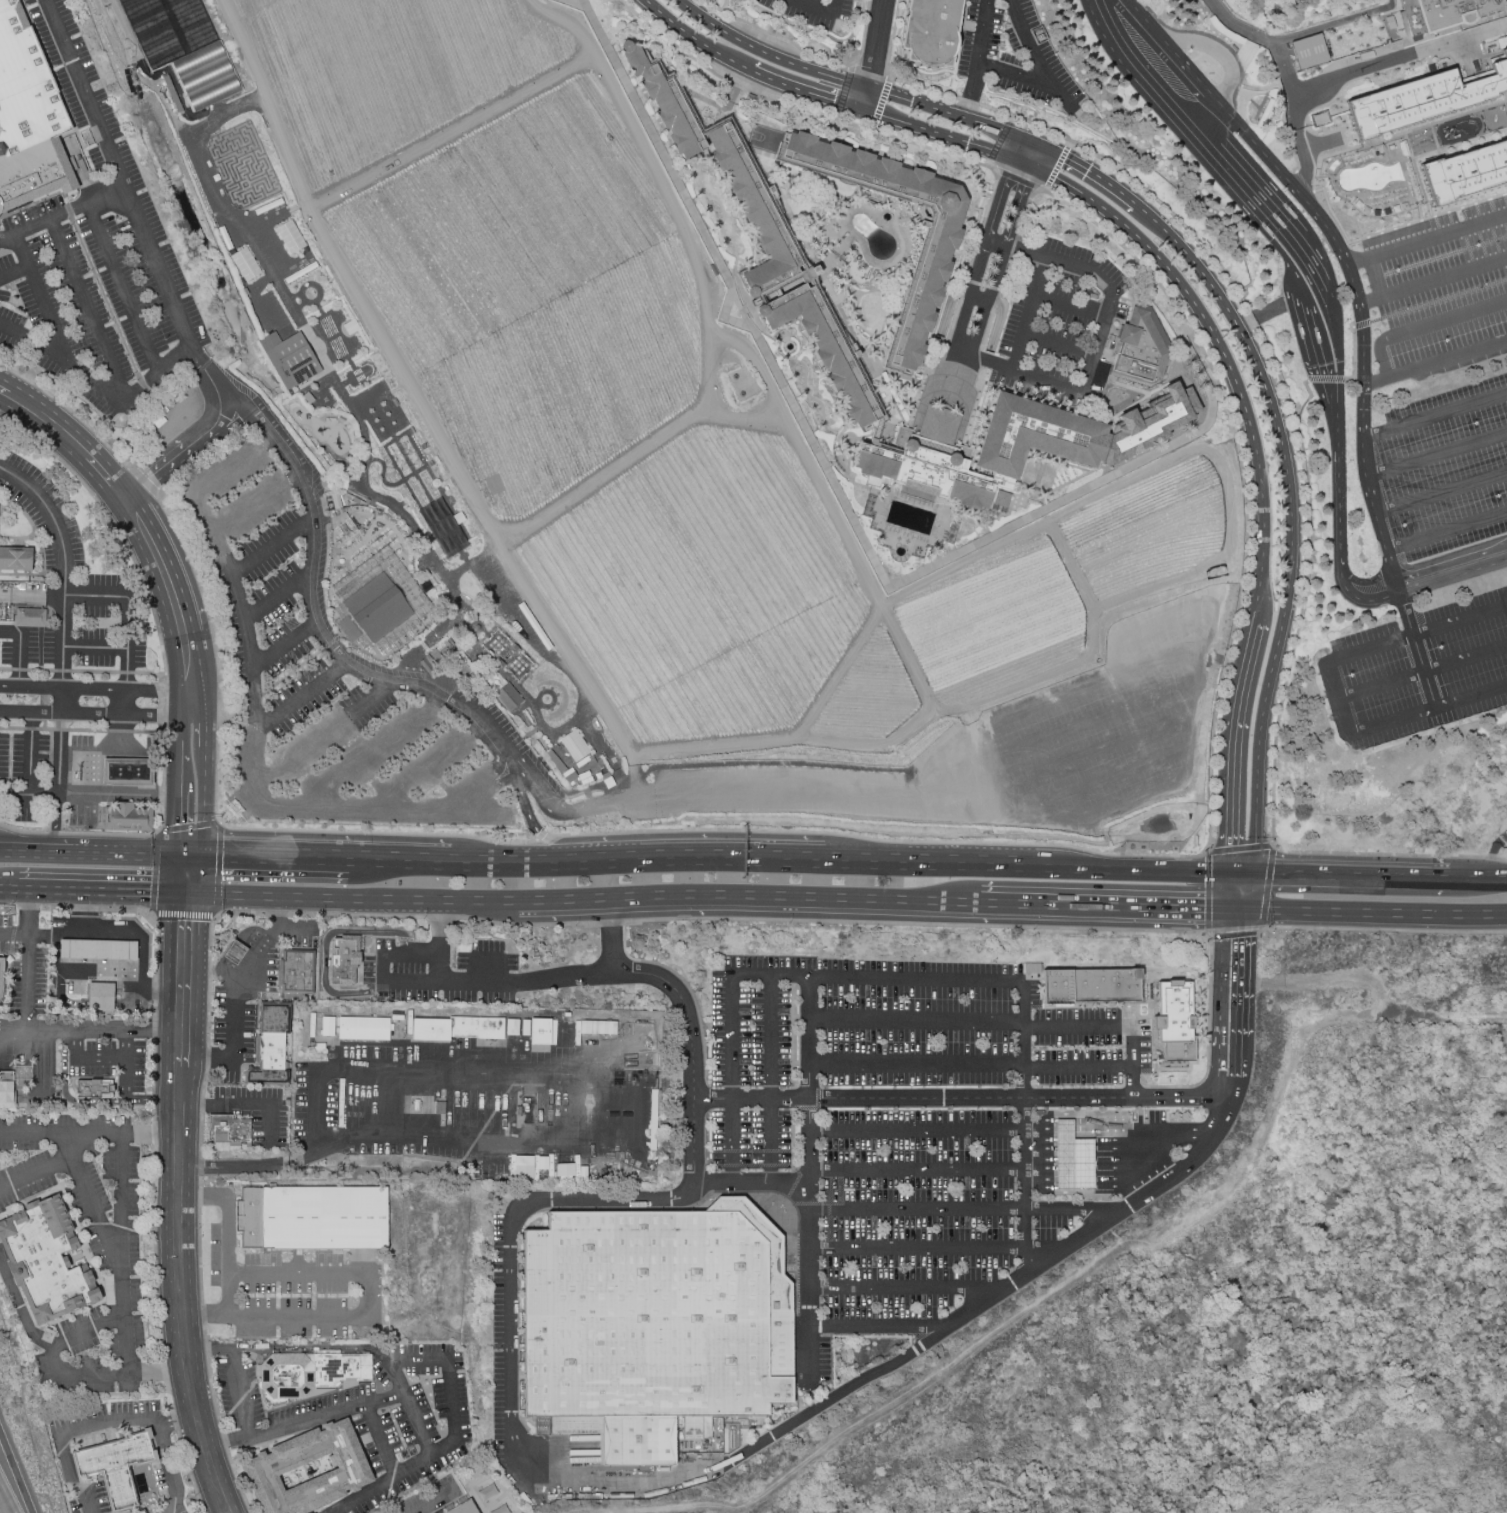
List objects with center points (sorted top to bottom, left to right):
road: (575, 4)
road: (816, 7)
road: (833, 7)
building: (1445, 13)
theme park: (1309, 28)
building: (930, 33)
road: (1200, 34)
road: (1295, 37)
road: (891, 39)
road: (1029, 48)
road: (806, 51)
building: (1308, 52)
road: (768, 53)
road: (873, 54)
road: (1376, 56)
road: (1224, 58)
road: (976, 59)
road: (851, 64)
road: (1379, 65)
road: (746, 68)
road: (1282, 68)
road: (1127, 71)
crop: (388, 72)
road: (870, 72)
road: (1012, 74)
building: (205, 77)
road: (923, 88)
building: (174, 91)
road: (844, 92)
road: (1234, 96)
building: (1422, 99)
building: (664, 101)
road: (968, 102)
road: (881, 104)
building: (28, 117)
road: (1454, 117)
road: (1285, 130)
road: (1389, 137)
road: (1433, 138)
road: (908, 141)
road: (1300, 142)
road: (1459, 143)
road: (701, 155)
building: (74, 157)
road: (688, 162)
building: (1465, 172)
road: (1016, 179)
road: (849, 183)
road: (1303, 183)
road: (775, 186)
road: (843, 208)
road: (855, 212)
road: (63, 214)
building: (754, 214)
road: (899, 223)
toll booth: (1279, 223)
road: (1393, 229)
road: (722, 232)
building: (289, 236)
road: (1425, 240)
road: (985, 243)
road: (1012, 249)
road: (846, 251)
road: (1003, 251)
parking lot: (101, 253)
road: (1445, 255)
building: (932, 256)
road: (1339, 257)
building: (244, 264)
road: (160, 270)
road: (14, 273)
road: (1172, 275)
road: (1375, 276)
road: (1432, 278)
road: (885, 282)
road: (121, 289)
crop: (535, 292)
road: (41, 299)
road: (977, 299)
road: (893, 303)
road: (1069, 303)
road: (1109, 303)
road: (1429, 303)
road: (89, 311)
road: (1025, 312)
road: (723, 318)
parking lot: (1062, 325)
road: (1308, 325)
road: (1425, 326)
road: (854, 337)
road: (1057, 342)
building: (1142, 346)
building: (823, 348)
building: (290, 358)
road: (1338, 358)
road: (984, 360)
road: (1435, 361)
road: (957, 372)
road: (1261, 376)
parking lot: (1439, 376)
road: (1044, 381)
road: (1340, 381)
road: (804, 383)
road: (337, 386)
road: (102, 387)
road: (1014, 392)
road: (926, 393)
road: (1307, 401)
road: (968, 410)
road: (73, 413)
road: (1434, 415)
building: (1151, 421)
building: (1036, 436)
road: (1112, 446)
road: (1436, 456)
building: (926, 460)
road: (1052, 460)
road: (827, 466)
road: (839, 470)
road: (1103, 475)
road: (146, 484)
road: (1061, 486)
road: (1440, 493)
road: (840, 498)
building: (1001, 500)
road: (255, 503)
road: (914, 506)
road: (997, 514)
road: (1307, 518)
road: (33, 527)
road: (115, 527)
road: (1446, 532)
road: (18, 538)
road: (270, 547)
building: (16, 559)
road: (1452, 572)
road: (21, 574)
road: (1364, 582)
road: (173, 593)
building: (412, 595)
road: (119, 597)
road: (276, 597)
building: (377, 608)
building: (29, 617)
building: (349, 628)
parking lot: (66, 642)
road: (283, 646)
road: (19, 647)
road: (62, 647)
road: (1416, 650)
parking lot: (321, 667)
road: (6, 669)
road: (19, 670)
road: (40, 671)
parking lot: (1418, 671)
road: (62, 672)
road: (95, 672)
road: (358, 672)
road: (1420, 672)
road: (126, 673)
road: (149, 673)
road: (46, 675)
road: (95, 686)
road: (45, 687)
road: (1330, 689)
road: (299, 698)
building: (509, 698)
fountain: (546, 699)
road: (45, 700)
road: (124, 700)
road: (163, 706)
road: (45, 713)
road: (96, 717)
road: (44, 725)
road: (252, 727)
road: (12, 728)
road: (31, 729)
road: (45, 730)
road: (60, 730)
road: (88, 731)
road: (120, 732)
road: (148, 732)
road: (968, 735)
road: (1072, 735)
road: (320, 737)
parking lot: (81, 742)
road: (1234, 744)
road: (373, 752)
road: (30, 754)
parking lot: (1008, 757)
road: (50, 758)
parking lot: (4, 759)
road: (163, 760)
road: (429, 768)
road: (1082, 769)
building: (127, 772)
gas station: (127, 772)
road: (121, 775)
road: (1211, 786)
road: (124, 797)
road: (162, 797)
parking lot: (82, 813)
road: (1048, 813)
road: (217, 815)
building: (127, 818)
road: (532, 822)
road: (55, 825)
road: (24, 832)
road: (55, 834)
road: (122, 835)
road: (540, 836)
road: (1270, 844)
road: (27, 854)
road: (123, 858)
traffic signals: (191, 861)
road: (270, 862)
road: (702, 864)
road: (400, 866)
road: (515, 869)
road: (923, 869)
road: (1125, 874)
road: (190, 877)
traffic signals: (1229, 878)
road: (1241, 878)
traffic signals: (1254, 878)
road: (1352, 881)
road: (1464, 884)
road: (1492, 884)
road: (9, 886)
road: (50, 887)
road: (136, 890)
traffic signals: (190, 893)
road: (233, 893)
road: (1227, 894)
road: (1252, 894)
road: (795, 897)
road: (395, 898)
road: (563, 900)
road: (8, 905)
road: (1102, 906)
road: (27, 907)
road: (54, 907)
road: (81, 908)
road: (26, 910)
traffic signals: (1226, 910)
road: (1238, 910)
road: (82, 911)
traffic signals: (1250, 911)
road: (216, 912)
road: (275, 913)
road: (1378, 913)
road: (353, 915)
road: (436, 916)
road: (153, 917)
road: (612, 924)
road: (917, 924)
road: (524, 925)
road: (1384, 928)
road: (420, 931)
road: (13, 932)
road: (297, 932)
road: (114, 934)
road: (612, 936)
road: (382, 938)
road: (406, 940)
road: (324, 942)
building: (97, 949)
building: (235, 953)
gas station: (235, 953)
road: (210, 955)
building: (344, 959)
gas station: (97, 965)
parking lot: (25, 966)
road: (84, 967)
building: (1032, 969)
road: (382, 971)
road: (245, 972)
building: (296, 972)
parking lot: (441, 972)
building: (0, 975)
road: (1245, 975)
road: (794, 977)
road: (186, 980)
road: (25, 981)
road: (669, 984)
road: (1264, 984)
building: (1107, 985)
building: (1057, 988)
road: (154, 989)
road: (167, 991)
parking lot: (251, 993)
building: (100, 996)
road: (1219, 1004)
road: (154, 1010)
road: (1437, 1019)
road: (917, 1021)
building: (1175, 1021)
building: (312, 1026)
building: (327, 1027)
road: (154, 1028)
building: (477, 1028)
building: (512, 1028)
building: (525, 1028)
building: (598, 1028)
road: (1113, 1028)
road: (9, 1029)
road: (67, 1029)
building: (364, 1029)
building: (431, 1030)
building: (540, 1032)
road: (792, 1036)
building: (286, 1044)
building: (271, 1045)
building: (318, 1048)
road: (86, 1058)
road: (207, 1058)
road: (209, 1058)
parking lot: (12, 1061)
road: (125, 1061)
parking lot: (109, 1062)
road: (153, 1065)
road: (917, 1065)
road: (344, 1067)
road: (1078, 1068)
road: (538, 1069)
road: (1181, 1070)
road: (1238, 1071)
road: (770, 1080)
road: (203, 1083)
building: (93, 1088)
building: (7, 1091)
road: (65, 1093)
road: (958, 1099)
road: (153, 1100)
road: (791, 1102)
road: (192, 1103)
road: (256, 1105)
road: (202, 1106)
road: (180, 1108)
building: (440, 1108)
road: (812, 1108)
building: (1037, 1113)
parking lot: (254, 1114)
road: (153, 1115)
parking lot: (1149, 1116)
road: (1089, 1125)
building: (229, 1131)
parking lot: (908, 1131)
road: (917, 1131)
road: (399, 1132)
road: (151, 1134)
road: (1174, 1135)
road: (154, 1136)
road: (201, 1137)
road: (791, 1140)
road: (121, 1141)
road: (65, 1145)
road: (1083, 1145)
road: (1025, 1149)
road: (751, 1152)
road: (810, 1154)
building: (1072, 1159)
gas station: (1072, 1159)
building: (540, 1163)
road: (1084, 1164)
road: (751, 1166)
building: (523, 1168)
road: (794, 1169)
road: (200, 1170)
building: (564, 1170)
road: (918, 1171)
road: (1150, 1171)
road: (77, 1182)
road: (200, 1184)
road: (1090, 1184)
road: (793, 1185)
road: (830, 1192)
road: (199, 1197)
road: (789, 1202)
road: (828, 1205)
road: (968, 1210)
building: (311, 1219)
road: (1102, 1227)
road: (939, 1249)
parking lot: (115, 1252)
road: (154, 1255)
road: (199, 1255)
building: (45, 1261)
road: (1089, 1268)
road: (349, 1269)
road: (908, 1289)
road: (226, 1291)
parking lot: (293, 1292)
road: (20, 1309)
road: (203, 1314)
building: (656, 1323)
road: (880, 1329)
road: (204, 1333)
road: (182, 1334)
road: (66, 1341)
road: (126, 1345)
road: (812, 1348)
road: (206, 1352)
road: (441, 1359)
parking lot: (502, 1366)
road: (234, 1370)
road: (157, 1373)
road: (165, 1373)
building: (308, 1374)
road: (169, 1396)
road: (383, 1397)
road: (212, 1398)
road: (358, 1406)
road: (177, 1416)
parking lot: (365, 1416)
road: (174, 1420)
building: (678, 1423)
building: (574, 1425)
building: (691, 1428)
building: (705, 1428)
road: (69, 1432)
road: (224, 1443)
parking lot: (167, 1457)
road: (540, 1464)
road: (170, 1466)
building: (271, 1466)
building: (115, 1467)
road: (16, 1473)
road: (189, 1473)
road: (238, 1483)
road: (78, 1486)
parking lot: (430, 1498)
road: (66, 1502)
road: (436, 1502)
road: (3, 1505)
building: (463, 1508)
building: (141, 1512)
building: (143, 1512)
parking lot: (385, 1512)

